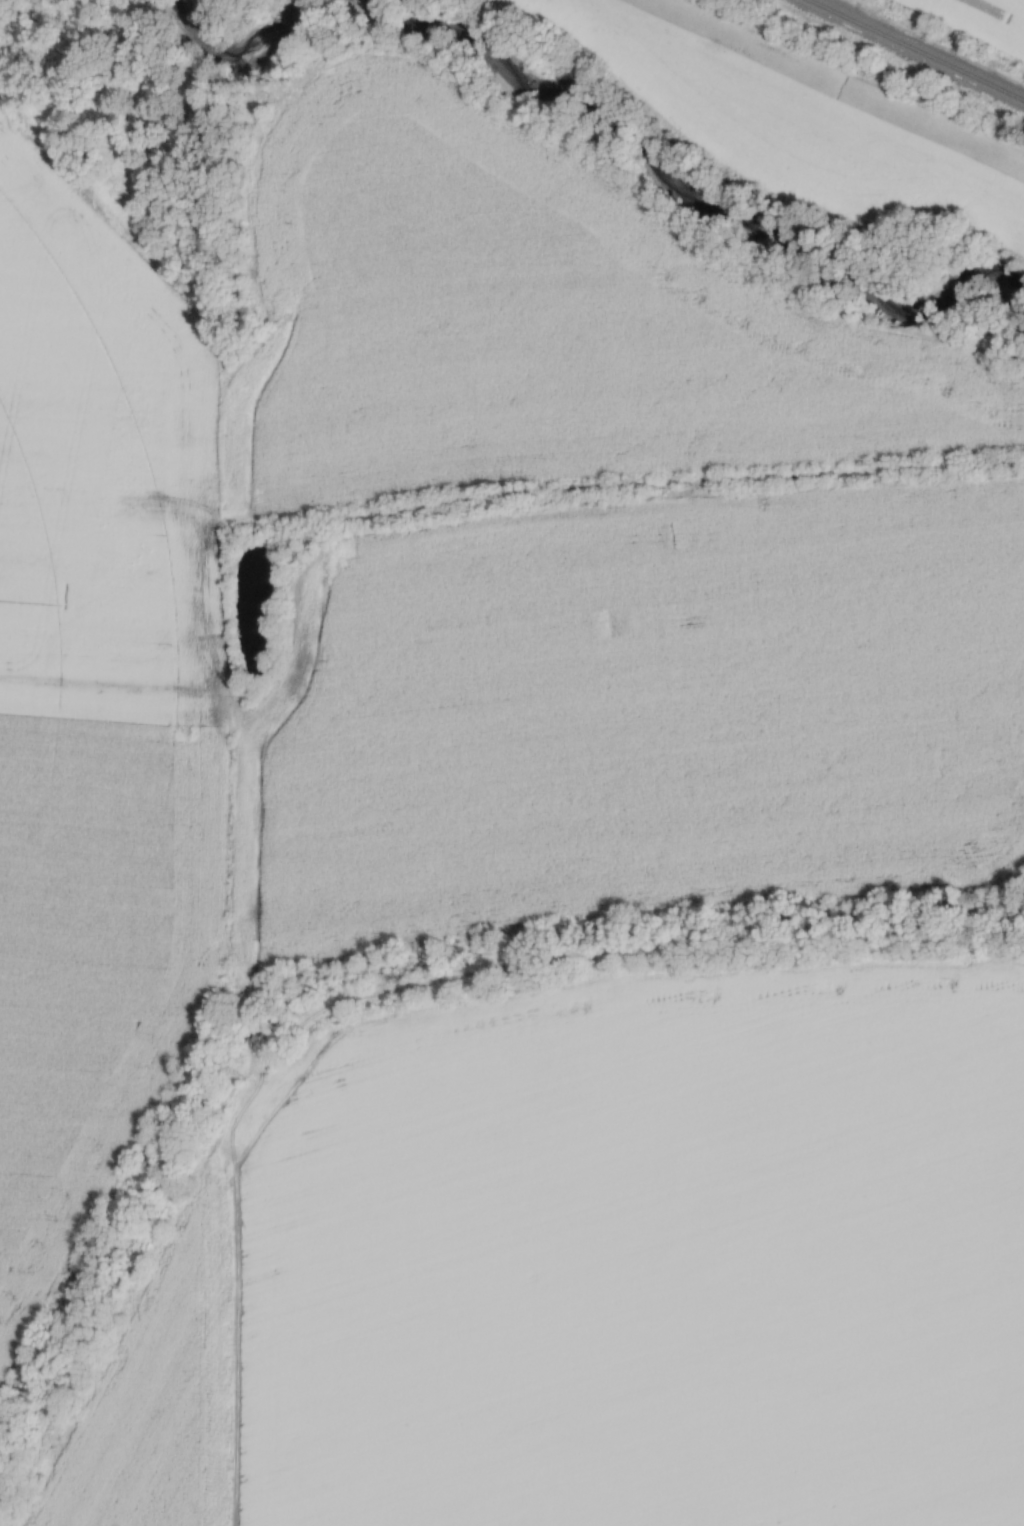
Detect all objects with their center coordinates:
railway: (919, 48)

